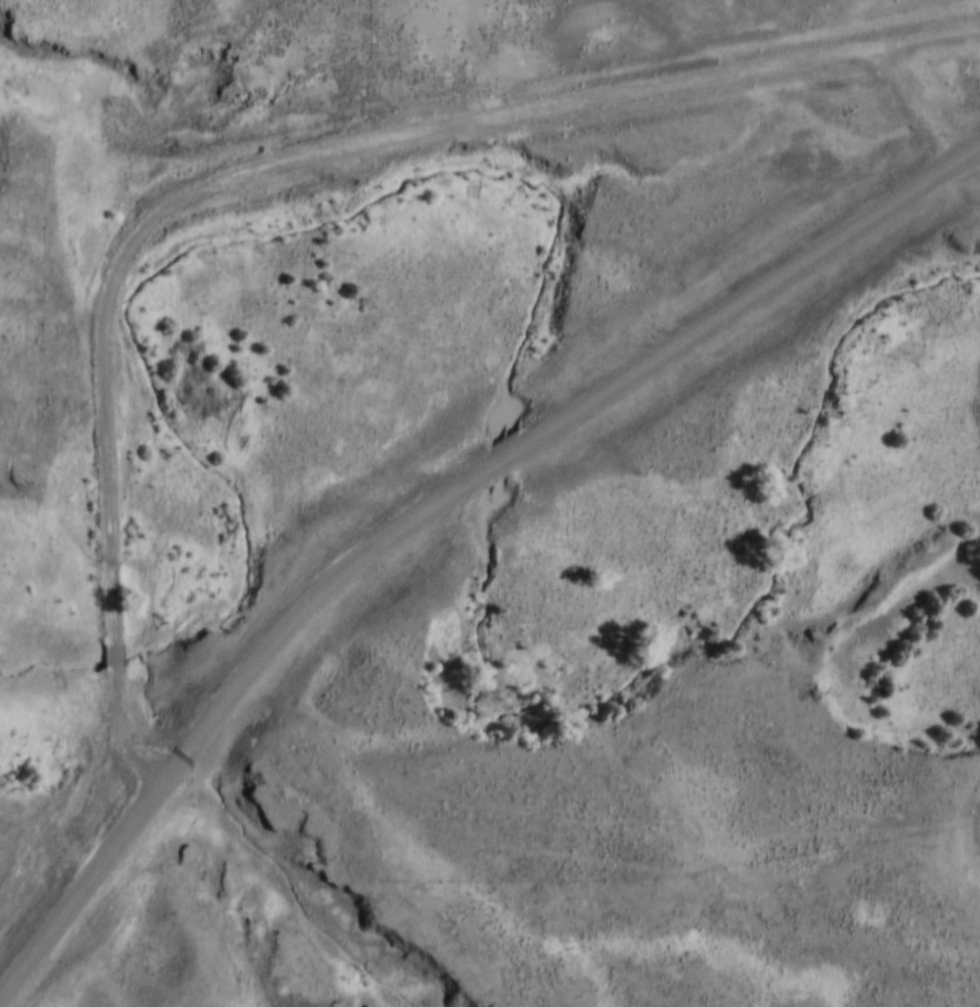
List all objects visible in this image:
road: (345, 145)
river: (512, 349)
road: (115, 656)
road: (57, 799)
road: (88, 836)

